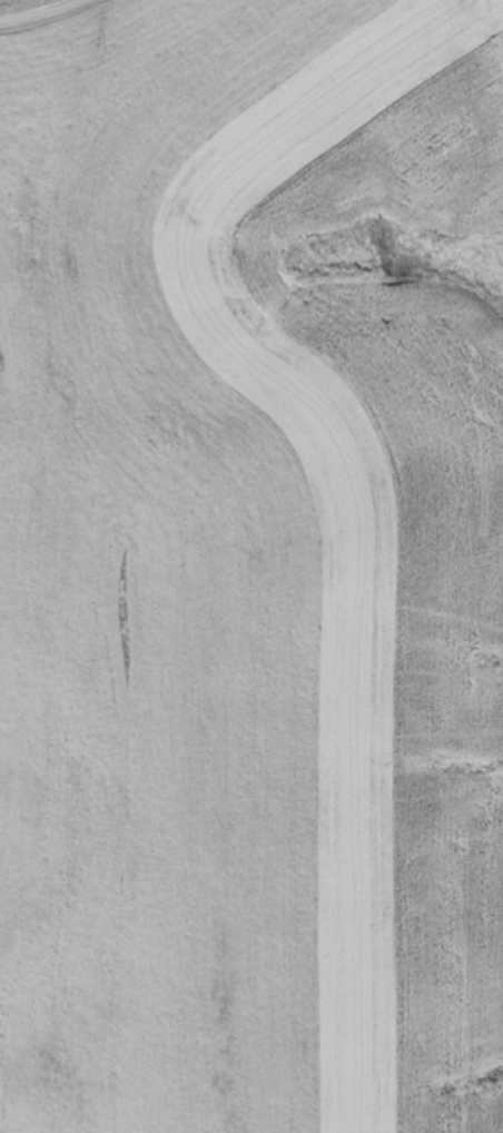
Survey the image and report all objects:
road: (41, 17)

